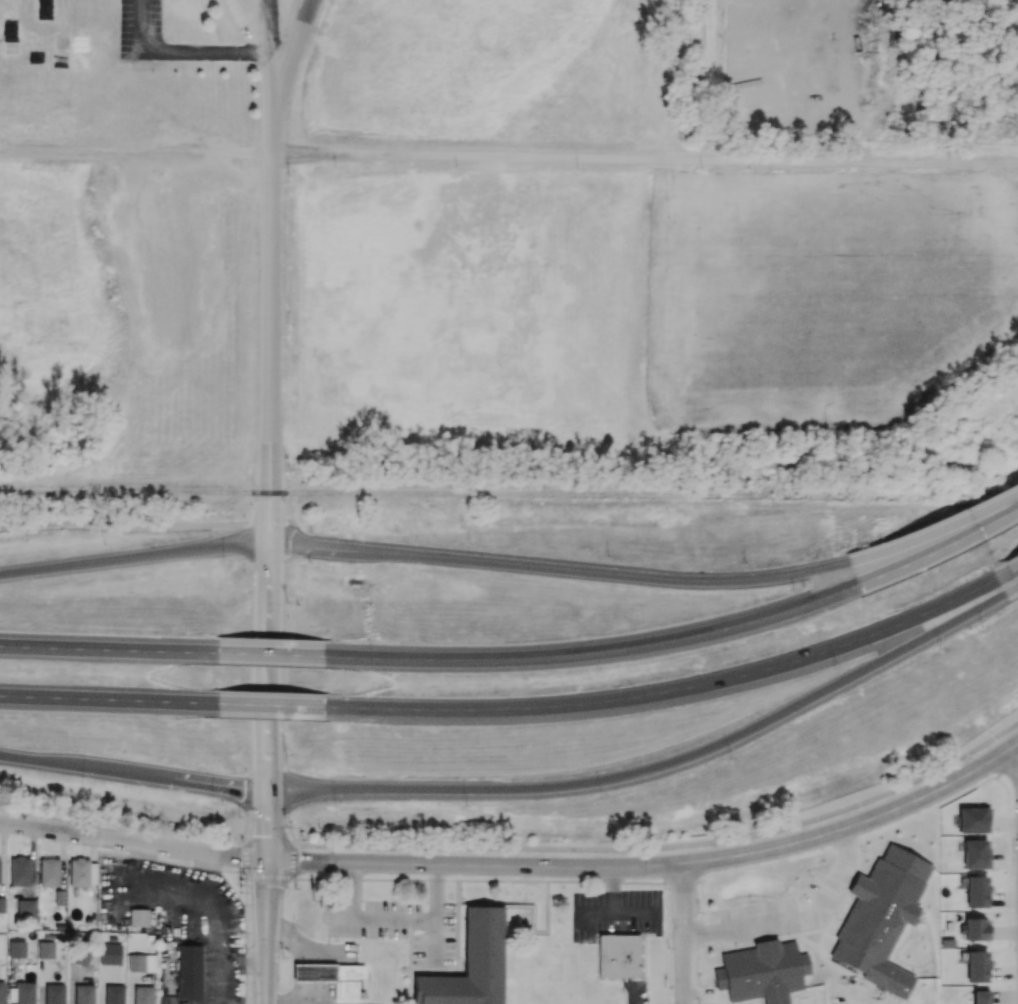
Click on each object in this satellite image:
road: (183, 48)
road: (291, 60)
road: (270, 61)
road: (135, 156)
road: (644, 158)
crop: (828, 293)
road: (268, 323)
road: (134, 525)
road: (932, 530)
road: (269, 534)
road: (287, 535)
road: (938, 548)
road: (134, 557)
road: (556, 568)
road: (1010, 568)
road: (1013, 586)
road: (109, 650)
road: (596, 650)
road: (274, 656)
road: (268, 657)
road: (675, 692)
road: (110, 701)
road: (274, 706)
road: (1012, 763)
road: (659, 768)
road: (133, 775)
road: (249, 804)
road: (286, 804)
road: (268, 815)
road: (133, 843)
road: (269, 844)
road: (669, 847)
traffic signals: (268, 860)
road: (655, 866)
road: (794, 916)
road: (393, 917)
road: (267, 931)
road: (685, 934)
road: (297, 963)
road: (857, 998)
road: (287, 1003)

